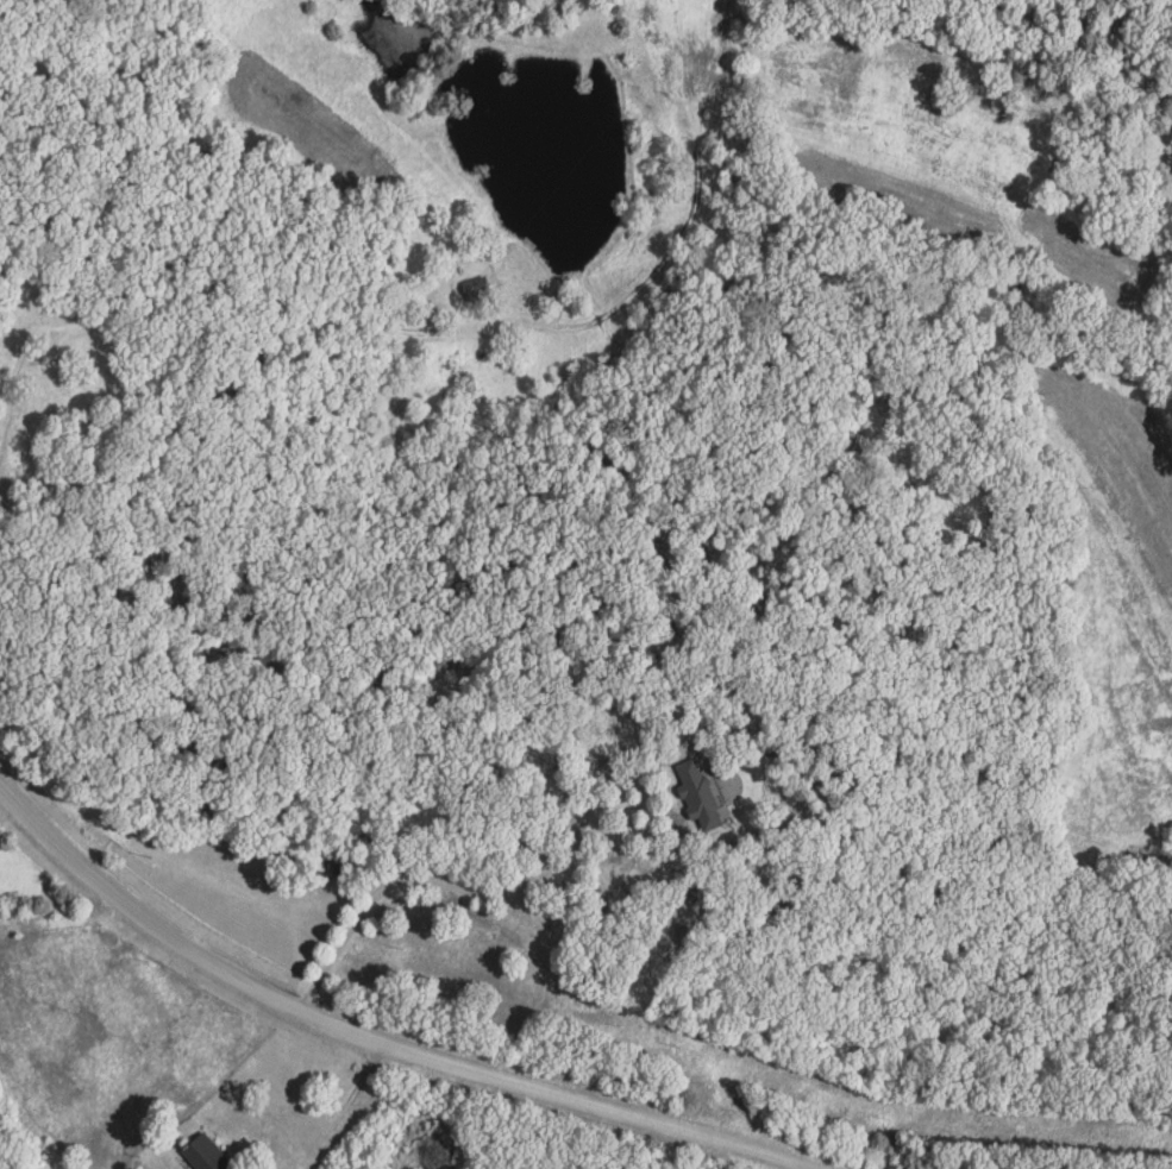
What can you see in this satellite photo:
building: (478, 289)
building: (702, 796)
road: (482, 884)
road: (374, 1032)
road: (343, 1104)
building: (206, 1156)

